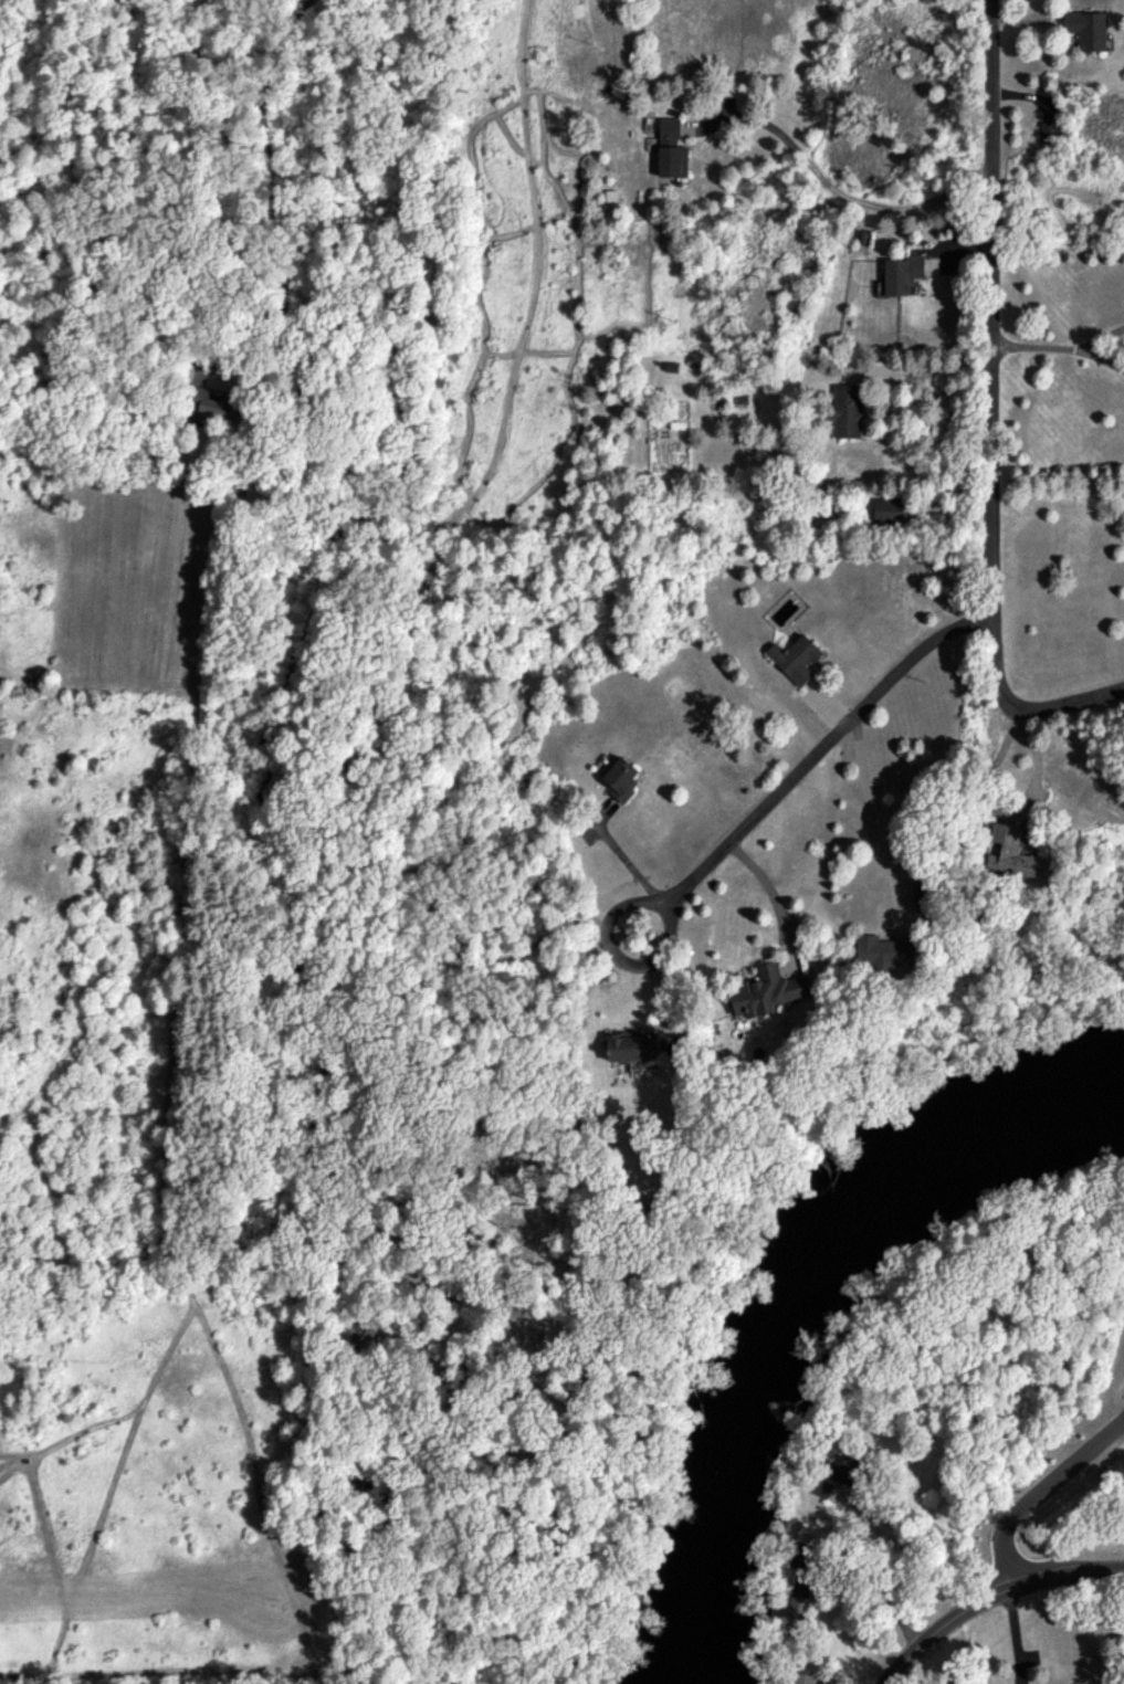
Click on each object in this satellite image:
building: (1088, 29)
building: (1049, 131)
building: (671, 149)
road: (847, 197)
building: (903, 273)
road: (1100, 338)
road: (1032, 347)
road: (988, 355)
road: (1101, 362)
road: (924, 369)
building: (208, 404)
building: (845, 411)
building: (891, 509)
building: (796, 659)
road: (1068, 703)
road: (817, 752)
building: (621, 779)
road: (1015, 808)
road: (864, 810)
building: (1013, 854)
road: (770, 891)
road: (609, 915)
building: (884, 952)
building: (766, 991)
building: (634, 1048)
river: (796, 1293)
park: (1011, 1380)
building: (836, 1477)
road: (1039, 1490)
road: (936, 1529)
road: (882, 1589)
building: (802, 1592)
road: (990, 1597)
building: (805, 1678)

